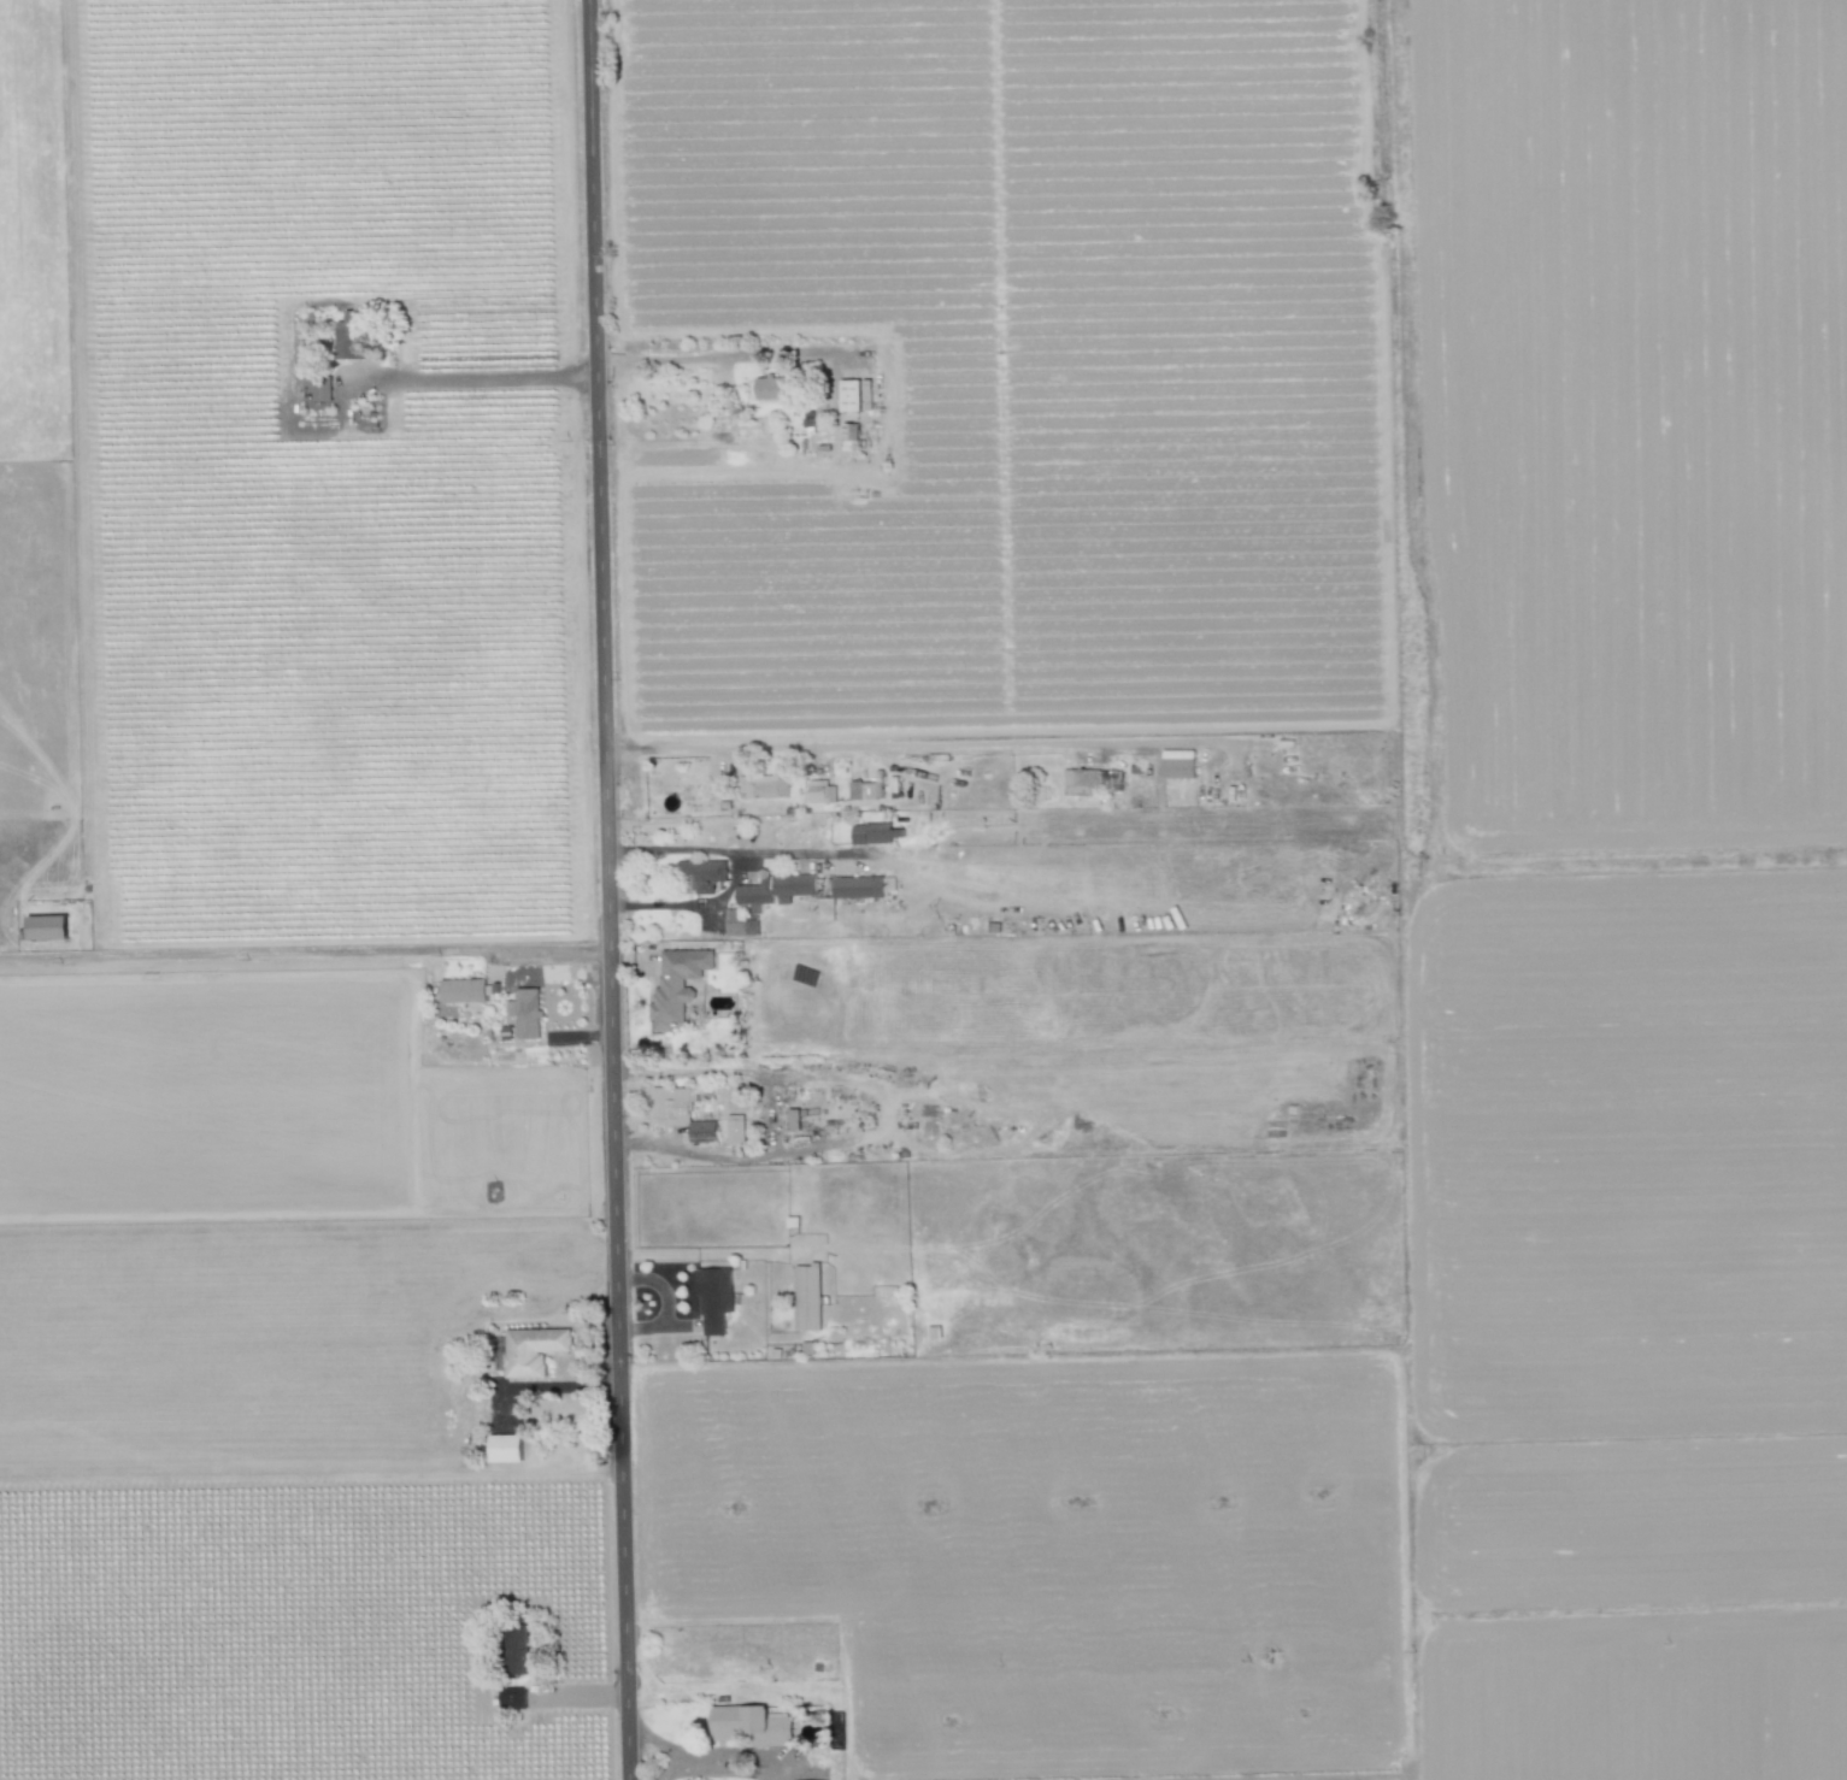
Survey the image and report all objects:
building: (349, 336)
road: (720, 359)
road: (477, 378)
building: (320, 388)
building: (772, 388)
building: (854, 395)
road: (878, 743)
building: (1177, 764)
building: (1092, 780)
building: (763, 786)
building: (865, 790)
building: (820, 792)
building: (873, 833)
road: (740, 853)
building: (702, 874)
building: (857, 888)
road: (610, 890)
building: (773, 891)
road: (692, 904)
building: (47, 927)
building: (677, 984)
building: (463, 990)
building: (525, 1013)
building: (678, 1112)
road: (772, 1119)
building: (735, 1130)
building: (806, 1298)
building: (714, 1301)
building: (533, 1350)
building: (505, 1449)
building: (512, 1698)
building: (751, 1726)
road: (661, 1747)

